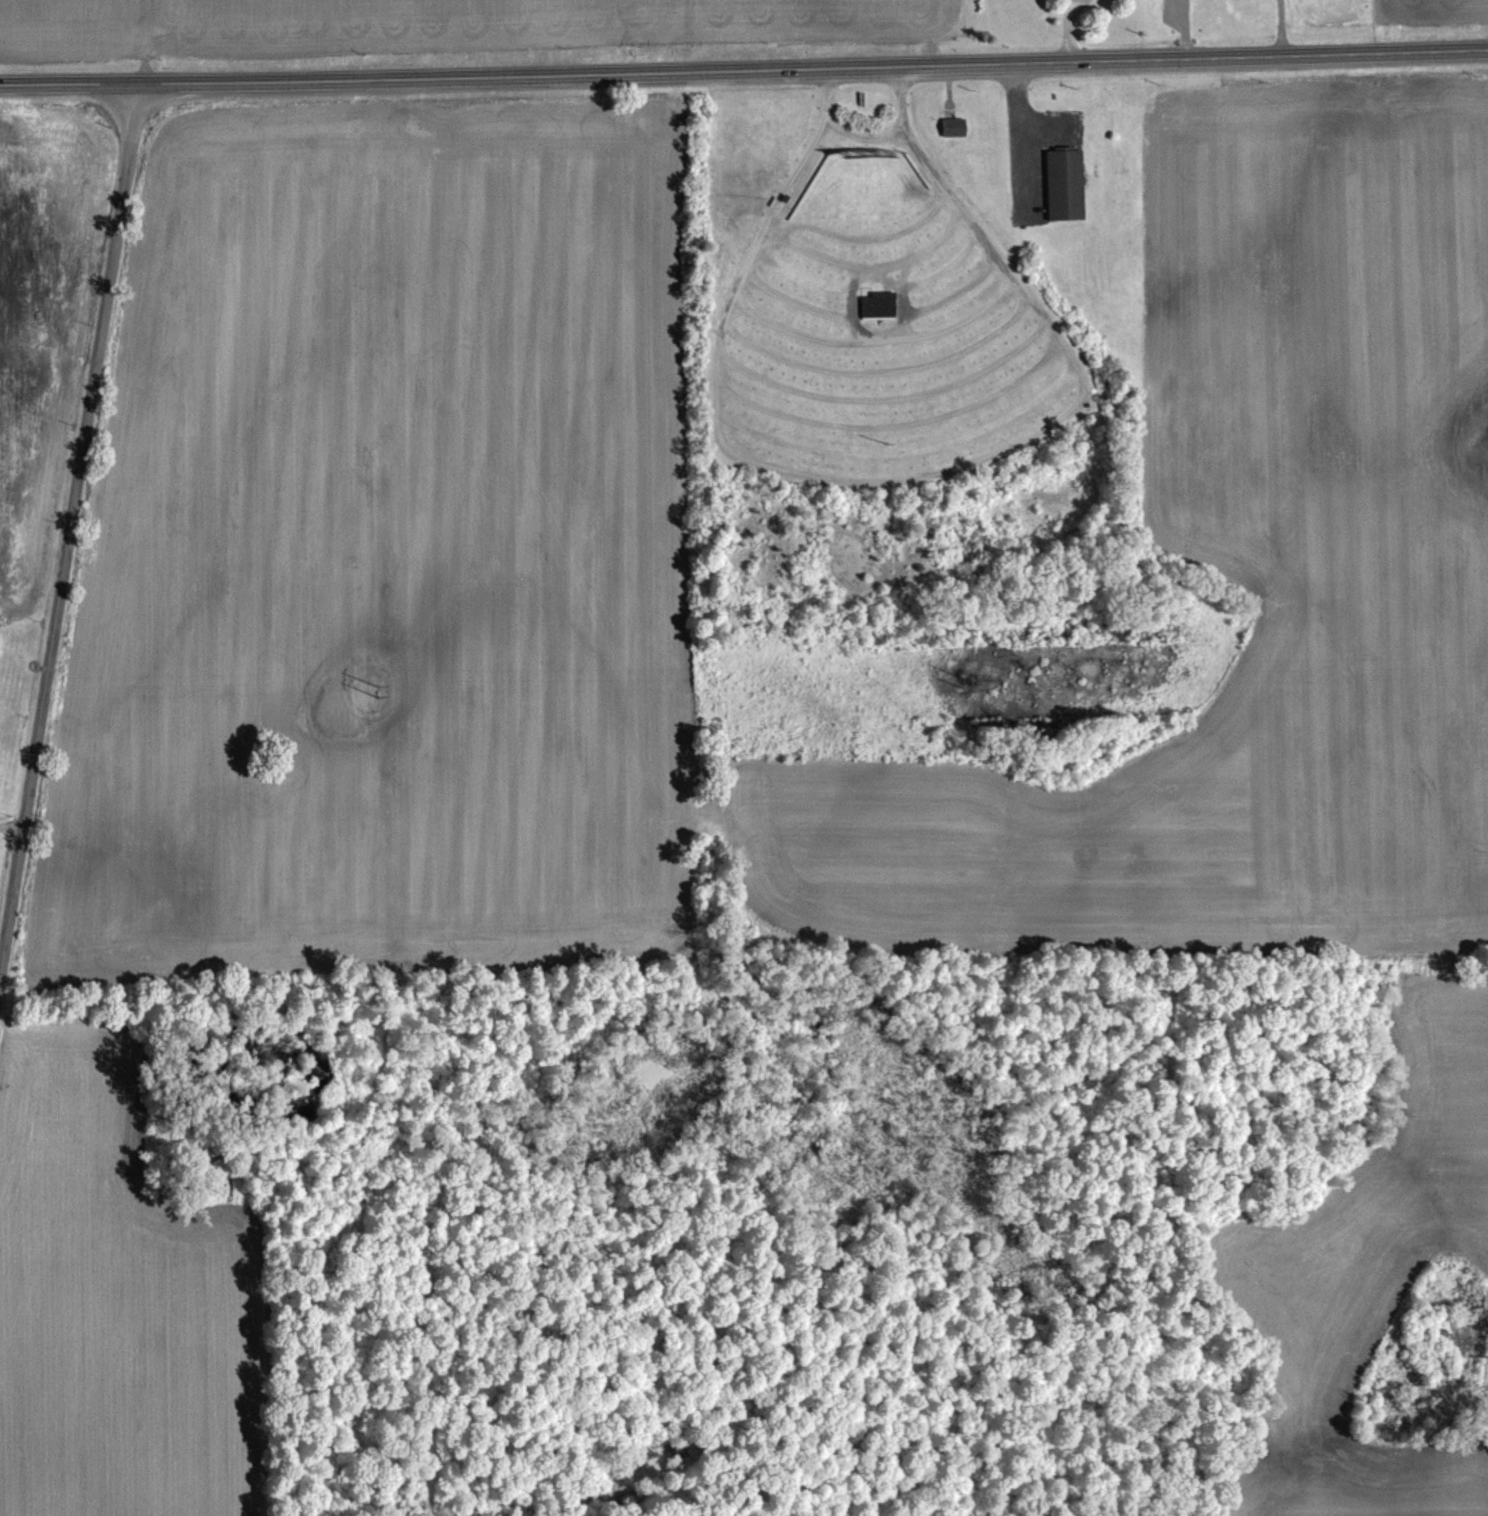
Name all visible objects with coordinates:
road: (1066, 28)
road: (744, 67)
building: (953, 126)
road: (865, 138)
building: (1064, 182)
building: (877, 303)
road: (71, 527)

